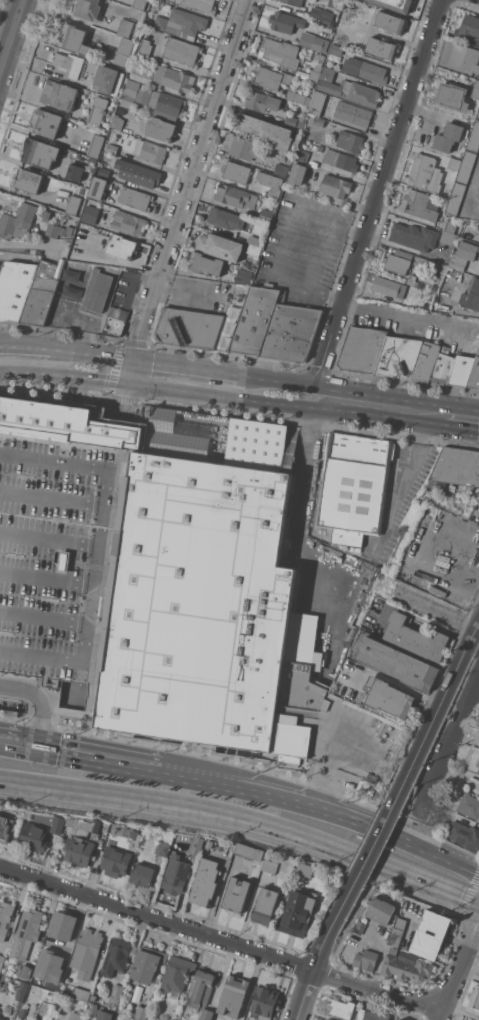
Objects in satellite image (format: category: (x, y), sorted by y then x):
building: (294, 2)
building: (109, 3)
building: (332, 3)
building: (138, 4)
building: (396, 4)
building: (201, 5)
building: (88, 9)
building: (326, 17)
building: (285, 21)
building: (150, 22)
building: (390, 22)
building: (182, 23)
building: (125, 27)
building: (470, 28)
building: (328, 29)
road: (12, 37)
building: (75, 39)
building: (313, 41)
building: (145, 47)
building: (381, 47)
building: (336, 48)
building: (123, 51)
building: (182, 51)
building: (280, 52)
building: (319, 56)
building: (465, 57)
building: (68, 63)
building: (366, 69)
building: (315, 72)
building: (165, 77)
building: (270, 77)
building: (108, 79)
building: (299, 82)
building: (348, 89)
building: (475, 90)
building: (58, 94)
building: (300, 96)
building: (452, 97)
building: (154, 101)
building: (262, 101)
building: (316, 102)
building: (98, 109)
building: (353, 113)
building: (478, 113)
building: (117, 121)
building: (318, 121)
building: (294, 122)
building: (46, 123)
building: (161, 128)
building: (265, 129)
building: (448, 136)
building: (473, 136)
building: (350, 141)
building: (317, 144)
building: (96, 145)
building: (243, 147)
building: (112, 148)
building: (150, 151)
building: (40, 152)
building: (301, 156)
building: (340, 159)
building: (454, 162)
building: (465, 166)
building: (281, 169)
building: (65, 170)
building: (421, 170)
building: (104, 171)
building: (235, 171)
building: (74, 172)
building: (137, 173)
building: (296, 174)
road: (189, 179)
building: (29, 180)
building: (268, 184)
building: (335, 185)
building: (97, 187)
road: (375, 192)
building: (478, 193)
road: (29, 195)
road: (469, 195)
building: (235, 196)
building: (455, 197)
building: (135, 198)
building: (73, 204)
building: (420, 204)
building: (90, 212)
building: (266, 215)
building: (225, 218)
building: (18, 220)
road: (292, 222)
building: (128, 223)
building: (449, 226)
building: (58, 230)
building: (414, 237)
building: (448, 237)
road: (29, 243)
building: (254, 245)
building: (123, 246)
building: (220, 246)
building: (80, 249)
road: (321, 251)
building: (463, 254)
building: (398, 261)
building: (428, 262)
building: (207, 264)
building: (442, 268)
building: (69, 275)
building: (244, 276)
building: (412, 281)
road: (289, 285)
road: (131, 286)
building: (389, 287)
building: (15, 288)
building: (97, 291)
building: (42, 292)
building: (472, 295)
road: (324, 296)
building: (56, 301)
building: (420, 301)
building: (122, 315)
road: (406, 318)
building: (254, 320)
building: (114, 325)
road: (75, 326)
building: (188, 328)
building: (290, 331)
road: (29, 345)
building: (361, 349)
road: (96, 353)
building: (398, 356)
traffic signals: (134, 360)
building: (425, 361)
road: (183, 367)
building: (442, 367)
building: (460, 370)
road: (27, 372)
road: (132, 372)
building: (474, 372)
road: (92, 378)
road: (275, 380)
traffic signals: (130, 384)
road: (183, 392)
road: (352, 395)
road: (398, 398)
road: (127, 402)
road: (279, 403)
road: (424, 410)
road: (372, 413)
road: (432, 421)
road: (460, 424)
road: (414, 464)
building: (457, 466)
building: (354, 486)
road: (53, 498)
road: (299, 507)
road: (51, 538)
building: (345, 547)
road: (100, 551)
building: (154, 573)
road: (48, 577)
building: (438, 590)
road: (45, 618)
building: (416, 637)
building: (398, 662)
road: (40, 696)
building: (389, 697)
road: (441, 705)
road: (449, 744)
road: (81, 752)
building: (478, 763)
road: (211, 776)
building: (469, 805)
road: (246, 817)
road: (422, 820)
building: (59, 824)
building: (86, 824)
building: (117, 826)
road: (371, 826)
building: (5, 827)
building: (464, 835)
building: (34, 836)
building: (209, 844)
building: (198, 845)
building: (163, 848)
road: (371, 848)
building: (79, 850)
building: (250, 851)
building: (116, 861)
building: (270, 866)
building: (305, 868)
building: (143, 874)
building: (176, 874)
building: (206, 881)
building: (236, 894)
building: (265, 905)
building: (381, 910)
building: (298, 911)
building: (5, 918)
building: (362, 925)
building: (398, 931)
building: (26, 933)
building: (431, 934)
building: (55, 938)
road: (221, 938)
building: (87, 952)
building: (116, 956)
building: (366, 959)
building: (1, 961)
building: (147, 964)
road: (315, 965)
building: (406, 967)
building: (24, 970)
road: (458, 971)
building: (177, 973)
building: (56, 978)
building: (201, 988)
building: (22, 991)
building: (116, 993)
building: (81, 994)
building: (234, 995)
building: (92, 997)
building: (475, 998)
building: (264, 1002)
building: (341, 1007)
building: (46, 1008)
building: (94, 1011)
building: (142, 1012)
building: (207, 1013)
building: (360, 1014)
building: (76, 1015)
building: (105, 1015)
building: (376, 1015)
building: (2, 1019)
building: (323, 1019)
building: (328, 1019)
building: (398, 1019)
building: (400, 1019)
building: (463, 1019)
building: (470, 1019)

